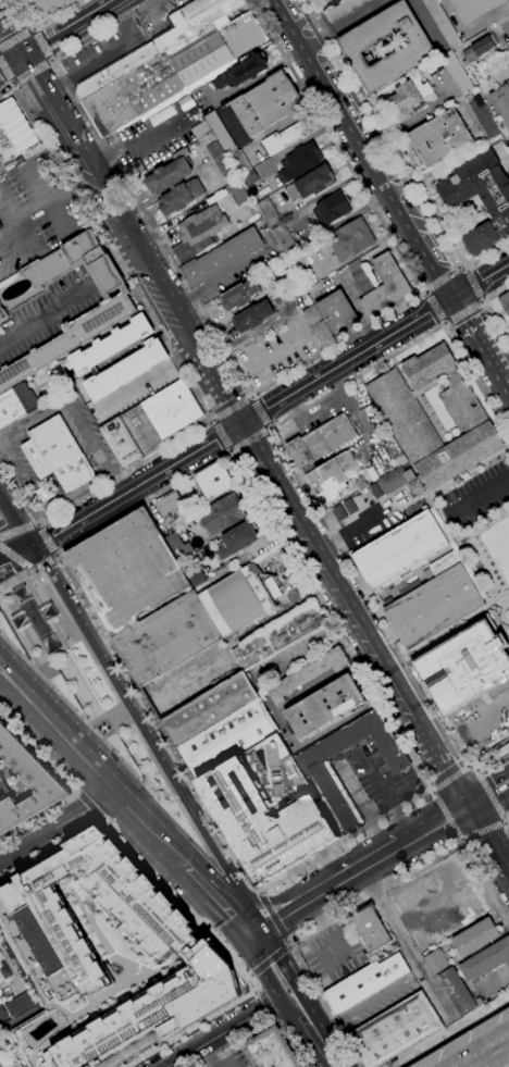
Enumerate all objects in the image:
building: (508, 1)
building: (45, 8)
building: (473, 8)
building: (343, 10)
road: (42, 22)
building: (442, 23)
road: (64, 26)
road: (33, 28)
traffic signals: (10, 32)
traffic signals: (53, 34)
road: (15, 38)
parking lot: (121, 40)
road: (15, 42)
road: (40, 44)
building: (417, 48)
building: (479, 49)
road: (10, 59)
road: (51, 60)
building: (170, 64)
building: (432, 67)
road: (29, 71)
building: (241, 72)
building: (456, 72)
road: (4, 73)
road: (10, 84)
building: (408, 98)
building: (501, 102)
building: (268, 103)
building: (483, 116)
building: (15, 126)
building: (220, 134)
road: (383, 134)
road: (372, 135)
building: (284, 138)
building: (439, 138)
road: (132, 141)
building: (5, 149)
road: (360, 149)
building: (300, 161)
building: (238, 162)
building: (133, 170)
building: (169, 173)
building: (248, 178)
building: (314, 182)
building: (479, 186)
building: (172, 188)
building: (237, 193)
street lamp: (18, 194)
building: (179, 197)
building: (331, 209)
parking lot: (35, 211)
building: (268, 212)
building: (0, 227)
building: (198, 233)
building: (480, 237)
building: (350, 239)
building: (285, 241)
road: (487, 253)
building: (220, 258)
road: (129, 264)
road: (459, 266)
road: (465, 269)
road: (108, 277)
building: (360, 277)
road: (219, 280)
road: (440, 280)
road: (479, 282)
traffic signals: (481, 282)
road: (451, 285)
building: (385, 286)
road: (472, 286)
road: (422, 290)
building: (239, 297)
road: (482, 301)
building: (505, 302)
building: (116, 307)
road: (433, 307)
road: (488, 311)
road: (48, 312)
road: (460, 312)
building: (337, 313)
traffic signals: (426, 313)
building: (311, 314)
building: (252, 317)
building: (0, 318)
road: (460, 318)
traffic signals: (462, 321)
road: (442, 324)
parking lot: (17, 332)
building: (322, 335)
building: (139, 362)
road: (175, 364)
building: (427, 365)
road: (489, 368)
building: (427, 386)
road: (266, 387)
road: (251, 396)
road: (226, 402)
building: (460, 402)
building: (15, 404)
road: (323, 406)
building: (172, 410)
road: (232, 410)
road: (260, 412)
building: (404, 417)
road: (287, 418)
road: (210, 420)
road: (239, 424)
traffic signals: (240, 424)
road: (270, 427)
building: (141, 431)
road: (221, 435)
road: (248, 437)
building: (322, 441)
building: (121, 443)
road: (228, 450)
building: (57, 455)
building: (459, 456)
building: (400, 461)
building: (333, 476)
building: (393, 481)
building: (213, 482)
road: (488, 484)
building: (415, 486)
parking lot: (479, 495)
building: (171, 507)
road: (263, 510)
building: (222, 514)
parking lot: (372, 516)
road: (37, 522)
road: (12, 528)
road: (17, 528)
road: (46, 538)
building: (237, 539)
park: (492, 544)
building: (178, 546)
building: (399, 550)
road: (14, 553)
building: (457, 553)
road: (16, 557)
road: (44, 562)
building: (126, 570)
building: (195, 575)
road: (16, 578)
road: (283, 580)
building: (273, 587)
building: (236, 600)
building: (434, 603)
road: (492, 610)
road: (488, 613)
road: (496, 613)
road: (77, 633)
building: (278, 636)
road: (507, 637)
building: (165, 638)
building: (464, 668)
building: (307, 674)
park: (76, 678)
road: (120, 702)
road: (151, 702)
road: (69, 706)
building: (324, 706)
building: (209, 709)
road: (437, 709)
road: (274, 718)
road: (134, 720)
parking lot: (484, 721)
road: (88, 724)
road: (471, 730)
building: (227, 740)
road: (38, 755)
road: (131, 755)
road: (476, 764)
road: (92, 767)
road: (469, 767)
building: (315, 768)
road: (444, 768)
road: (473, 768)
building: (37, 777)
road: (449, 778)
road: (169, 786)
road: (194, 786)
road: (427, 789)
road: (486, 789)
road: (431, 791)
road: (489, 792)
road: (431, 794)
road: (389, 802)
traffic signals: (464, 803)
road: (89, 806)
building: (269, 808)
road: (38, 816)
road: (445, 816)
road: (505, 817)
road: (508, 818)
road: (433, 820)
road: (507, 822)
road: (505, 823)
road: (58, 826)
road: (481, 830)
road: (484, 836)
road: (460, 839)
road: (457, 841)
road: (223, 843)
road: (213, 847)
road: (52, 852)
road: (347, 872)
road: (507, 874)
road: (212, 881)
road: (258, 892)
building: (411, 893)
road: (219, 898)
road: (497, 901)
road: (263, 905)
road: (244, 915)
road: (272, 916)
road: (271, 918)
building: (369, 928)
traffic signals: (251, 932)
building: (475, 938)
road: (287, 940)
road: (289, 940)
road: (405, 940)
road: (288, 946)
road: (277, 951)
road: (229, 955)
parking lot: (332, 955)
building: (107, 958)
road: (271, 958)
building: (485, 960)
road: (263, 973)
road: (252, 975)
building: (364, 982)
building: (450, 982)
road: (258, 990)
road: (294, 991)
road: (368, 1002)
building: (18, 1004)
road: (268, 1007)
building: (2, 1014)
road: (277, 1022)
road: (228, 1030)
building: (394, 1030)
road: (260, 1031)
road: (312, 1034)
building: (271, 1050)
parking lot: (228, 1058)
road: (498, 1060)
building: (0, 1066)

